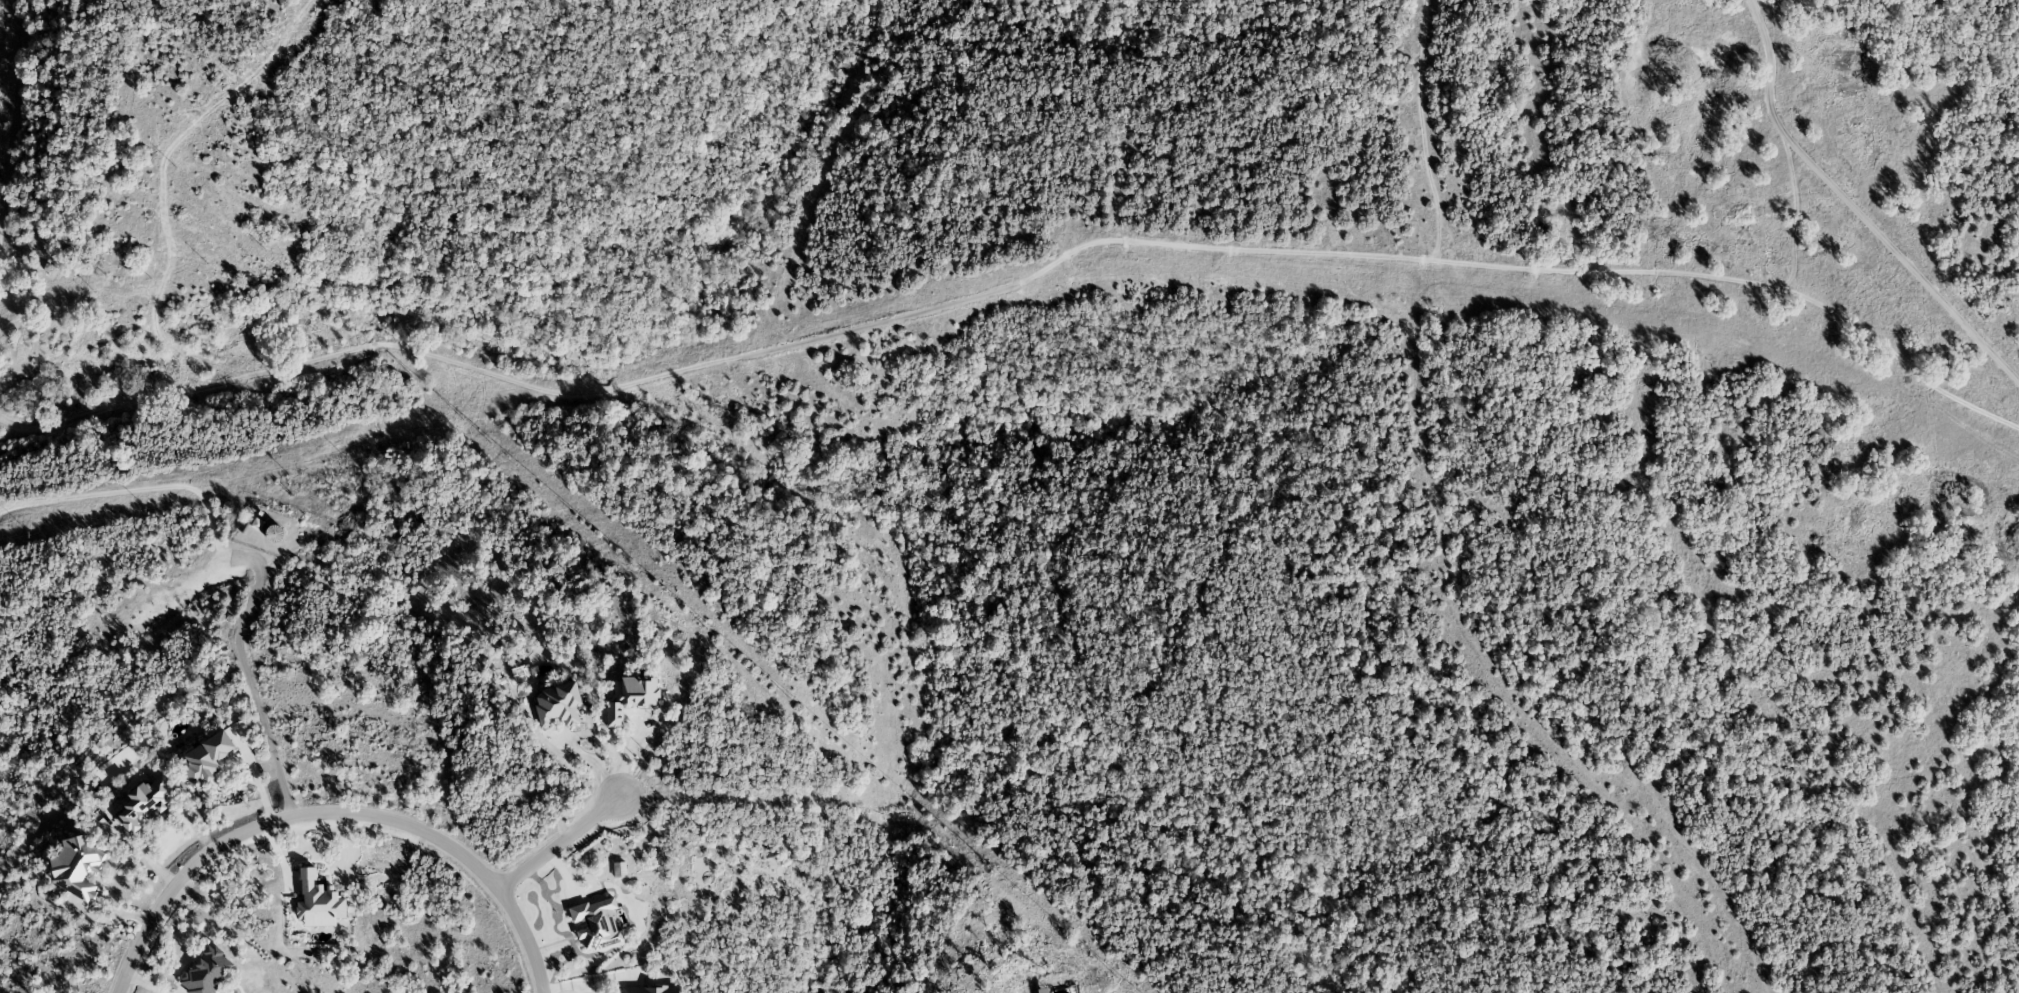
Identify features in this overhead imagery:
road: (1852, 208)
road: (250, 688)
building: (630, 696)
building: (557, 704)
road: (594, 739)
building: (204, 758)
building: (144, 802)
road: (274, 820)
road: (558, 842)
building: (76, 866)
building: (619, 869)
building: (318, 901)
building: (596, 923)
road: (525, 937)
building: (206, 971)
road: (594, 984)
building: (647, 989)
road: (581, 990)

